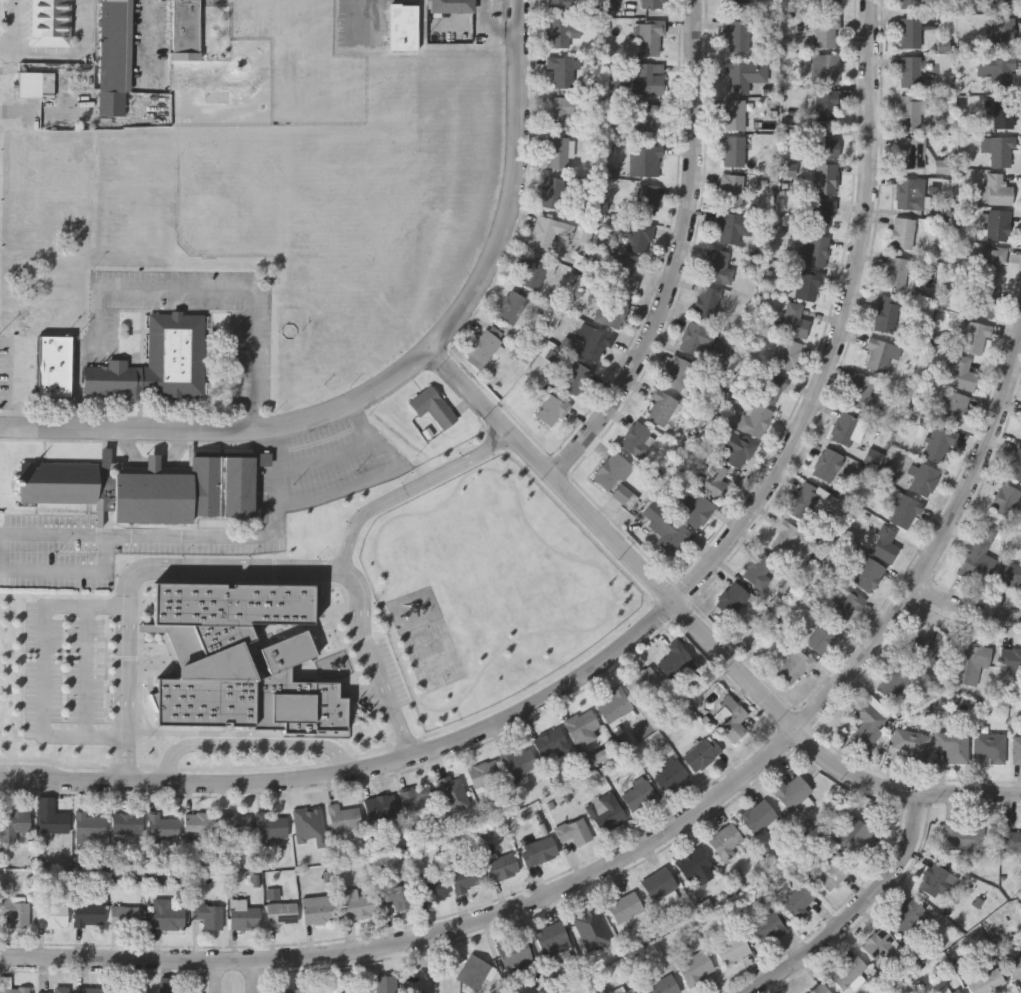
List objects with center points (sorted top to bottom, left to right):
building: (949, 1)
building: (828, 3)
building: (912, 3)
building: (557, 4)
building: (1003, 4)
building: (452, 6)
building: (635, 6)
building: (737, 6)
building: (404, 21)
building: (51, 23)
road: (16, 28)
building: (185, 30)
building: (558, 31)
building: (827, 31)
building: (909, 32)
building: (1003, 32)
building: (737, 33)
road: (149, 36)
building: (651, 37)
building: (115, 46)
road: (67, 56)
building: (825, 68)
building: (909, 70)
building: (997, 71)
building: (563, 72)
building: (743, 75)
building: (648, 78)
building: (29, 86)
building: (826, 104)
building: (561, 110)
building: (911, 113)
building: (1003, 113)
building: (734, 114)
building: (646, 119)
building: (822, 143)
building: (557, 148)
building: (733, 150)
building: (1001, 151)
building: (913, 152)
building: (644, 160)
building: (826, 178)
building: (731, 189)
building: (997, 189)
building: (555, 192)
building: (910, 193)
building: (645, 198)
building: (820, 214)
building: (997, 223)
building: (733, 226)
building: (544, 231)
building: (902, 232)
building: (639, 237)
building: (814, 250)
road: (681, 256)
building: (989, 262)
building: (718, 266)
building: (533, 270)
building: (897, 272)
building: (623, 274)
building: (808, 284)
road: (177, 293)
building: (706, 301)
building: (981, 301)
building: (511, 306)
building: (612, 311)
building: (887, 314)
building: (795, 319)
building: (974, 337)
building: (696, 338)
building: (724, 343)
building: (595, 345)
building: (483, 347)
building: (786, 353)
building: (879, 355)
building: (155, 363)
building: (53, 367)
building: (678, 372)
building: (961, 372)
road: (401, 374)
road: (18, 377)
building: (576, 379)
building: (770, 386)
building: (861, 392)
building: (953, 406)
building: (660, 407)
building: (433, 409)
building: (551, 409)
building: (753, 419)
building: (846, 428)
building: (637, 438)
building: (937, 443)
building: (735, 448)
road: (329, 459)
building: (827, 464)
building: (615, 476)
road: (378, 477)
building: (923, 477)
building: (715, 480)
road: (414, 488)
building: (146, 490)
building: (1005, 500)
building: (806, 501)
building: (903, 510)
building: (697, 511)
building: (666, 527)
road: (190, 536)
building: (791, 538)
building: (884, 543)
building: (392, 556)
building: (977, 560)
road: (236, 566)
building: (757, 569)
road: (54, 571)
building: (868, 574)
building: (1010, 574)
building: (402, 586)
building: (362, 588)
building: (732, 598)
building: (844, 606)
road: (965, 610)
road: (649, 624)
road: (699, 626)
building: (822, 637)
building: (927, 646)
building: (411, 651)
building: (674, 661)
building: (971, 663)
building: (1012, 664)
building: (793, 666)
road: (44, 672)
road: (87, 672)
building: (642, 682)
building: (892, 682)
building: (614, 705)
building: (730, 715)
building: (866, 723)
building: (582, 726)
building: (910, 741)
building: (552, 742)
road: (250, 745)
building: (953, 745)
building: (989, 747)
building: (1016, 751)
building: (702, 752)
building: (517, 761)
building: (484, 774)
building: (670, 775)
building: (791, 791)
building: (638, 794)
building: (415, 799)
building: (380, 806)
building: (605, 809)
building: (758, 816)
building: (343, 817)
building: (307, 818)
building: (52, 820)
building: (127, 822)
building: (13, 823)
building: (199, 823)
building: (234, 823)
building: (90, 824)
building: (271, 824)
building: (162, 826)
building: (574, 830)
building: (854, 833)
building: (964, 835)
building: (726, 840)
building: (1012, 840)
building: (539, 849)
road: (636, 852)
building: (692, 863)
building: (501, 866)
building: (829, 870)
building: (466, 877)
building: (936, 882)
building: (659, 883)
building: (431, 889)
building: (398, 895)
building: (797, 898)
building: (358, 904)
building: (624, 905)
building: (317, 908)
building: (14, 909)
road: (859, 909)
building: (281, 913)
building: (88, 914)
building: (208, 914)
building: (243, 914)
building: (52, 915)
building: (125, 915)
building: (908, 915)
building: (165, 917)
building: (767, 927)
building: (552, 939)
building: (877, 942)
building: (732, 949)
building: (514, 951)
road: (427, 963)
building: (695, 967)
building: (1014, 967)
building: (473, 971)
building: (849, 971)
road: (219, 977)
road: (256, 977)
building: (987, 981)
building: (661, 983)
building: (382, 984)
building: (14, 989)
building: (819, 989)
building: (90, 990)
building: (131, 990)
building: (173, 990)
building: (290, 990)
building: (631, 991)
building: (957, 991)
building: (53, 992)
building: (521, 992)

